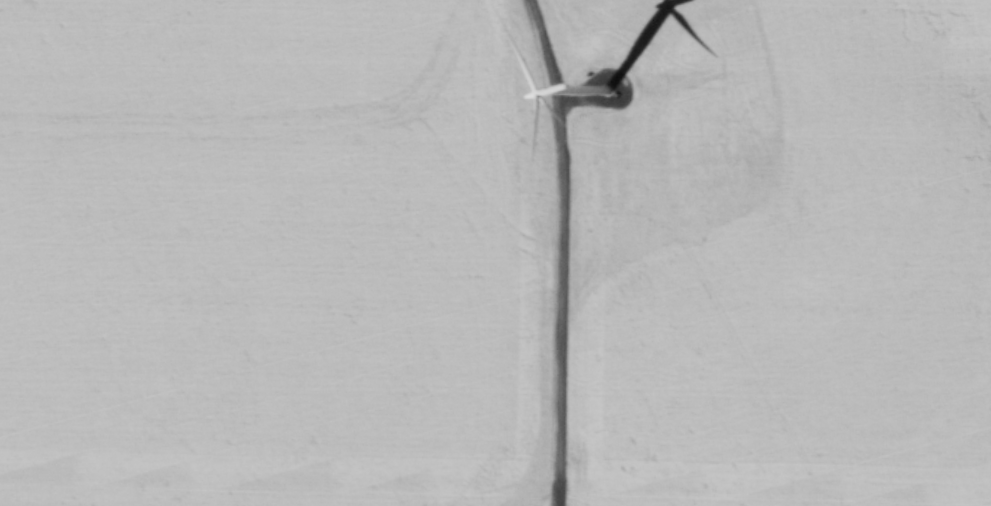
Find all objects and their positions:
wind turbine: (607, 91)
road: (565, 251)

